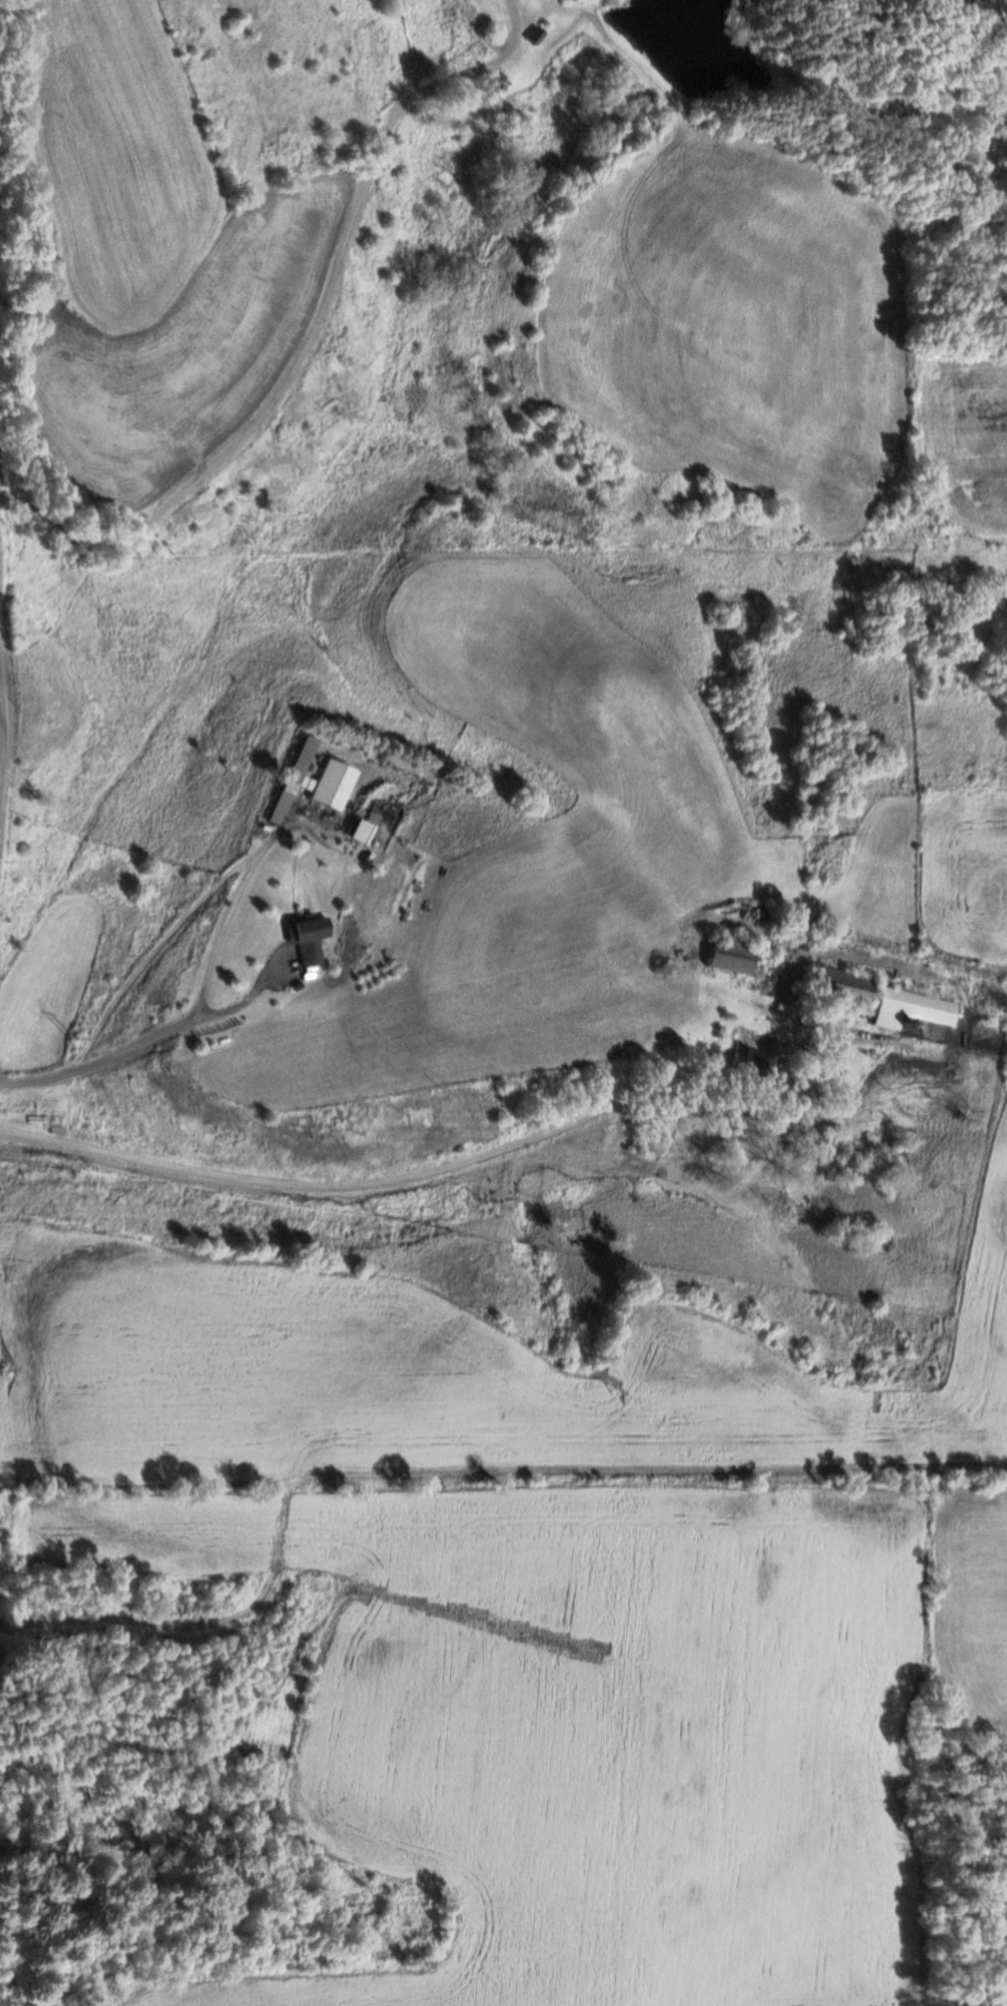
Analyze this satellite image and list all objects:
building: (532, 37)
building: (494, 81)
road: (266, 405)
building: (331, 786)
building: (281, 796)
building: (306, 938)
building: (725, 957)
building: (874, 997)
building: (742, 1059)
road: (460, 1177)

